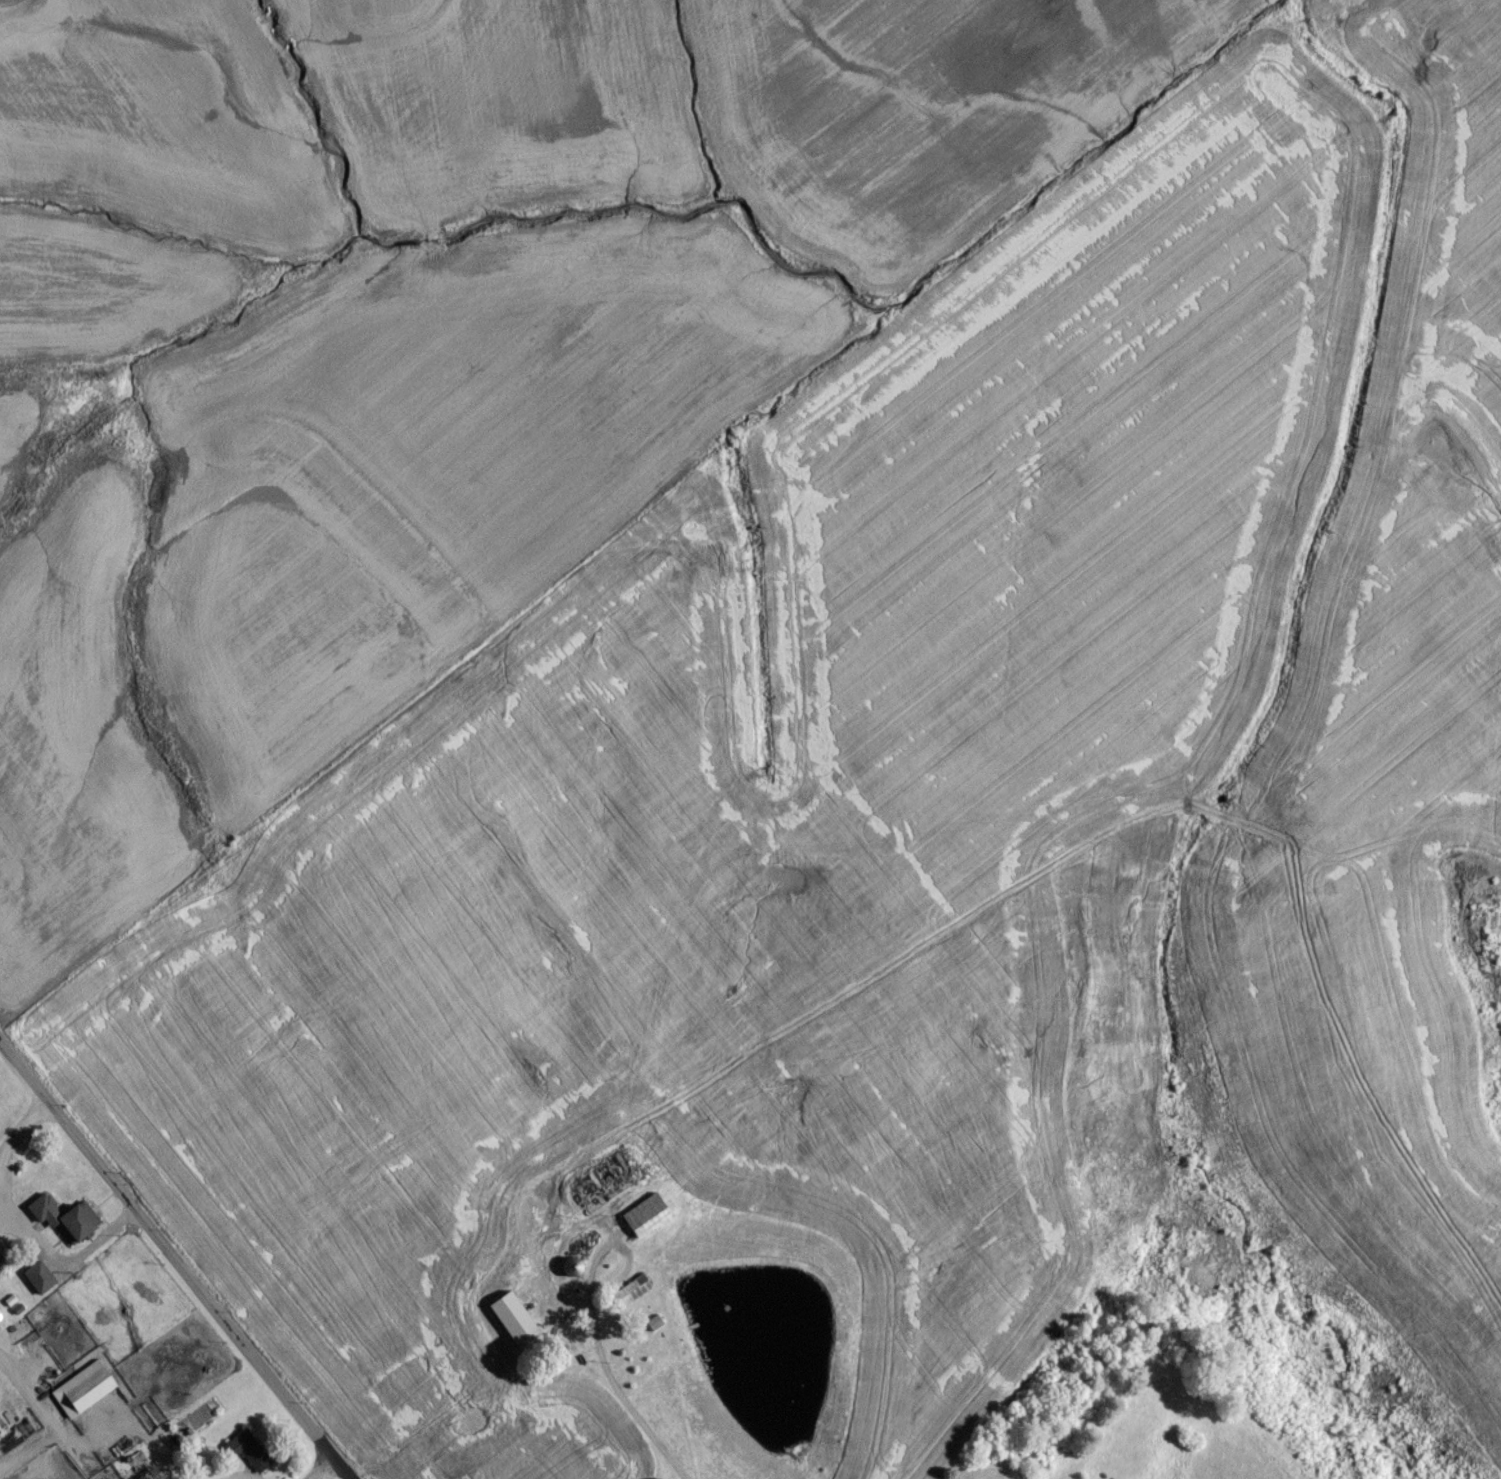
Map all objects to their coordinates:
road: (20, 1125)
road: (1, 1203)
building: (643, 1221)
building: (74, 1227)
road: (165, 1252)
road: (58, 1258)
building: (569, 1272)
building: (35, 1283)
building: (628, 1297)
building: (510, 1326)
road: (605, 1368)
road: (23, 1387)
building: (81, 1396)
building: (248, 1457)
road: (322, 1472)
road: (337, 1472)

